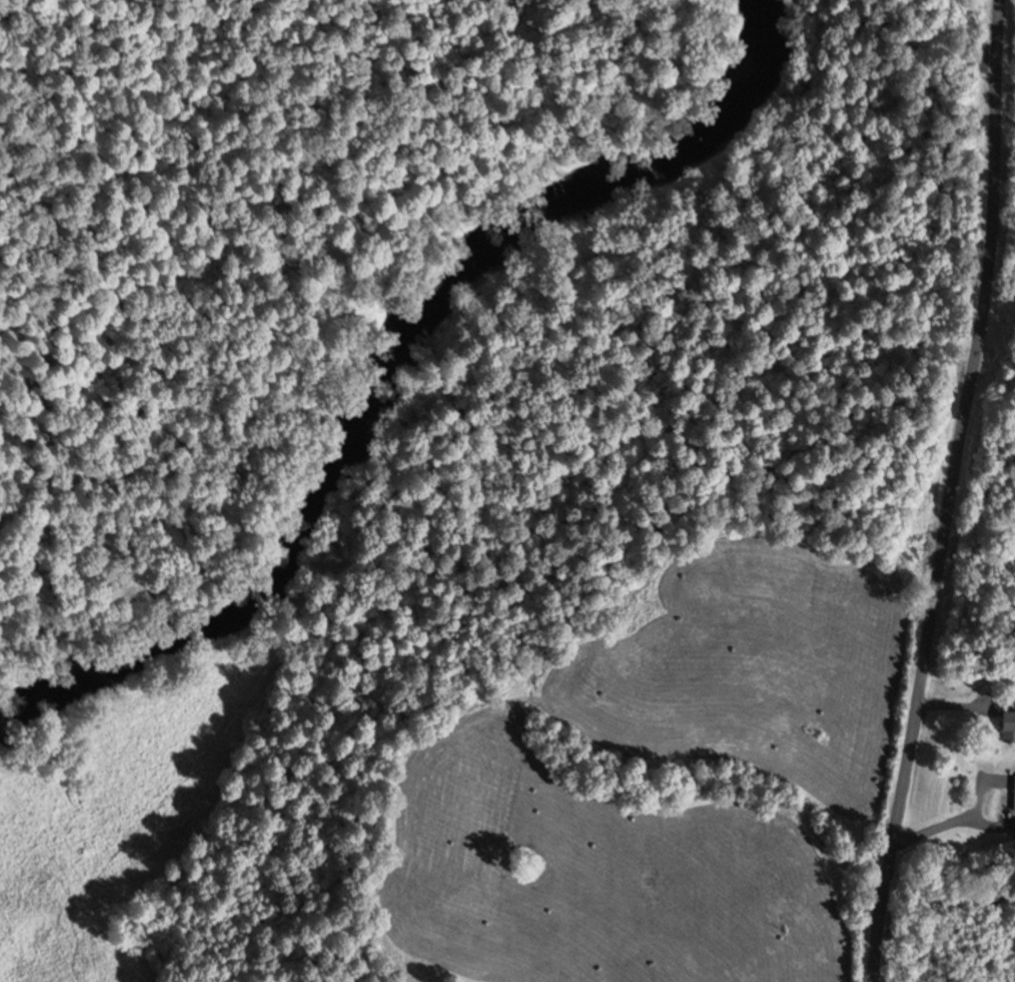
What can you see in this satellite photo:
road: (952, 492)

